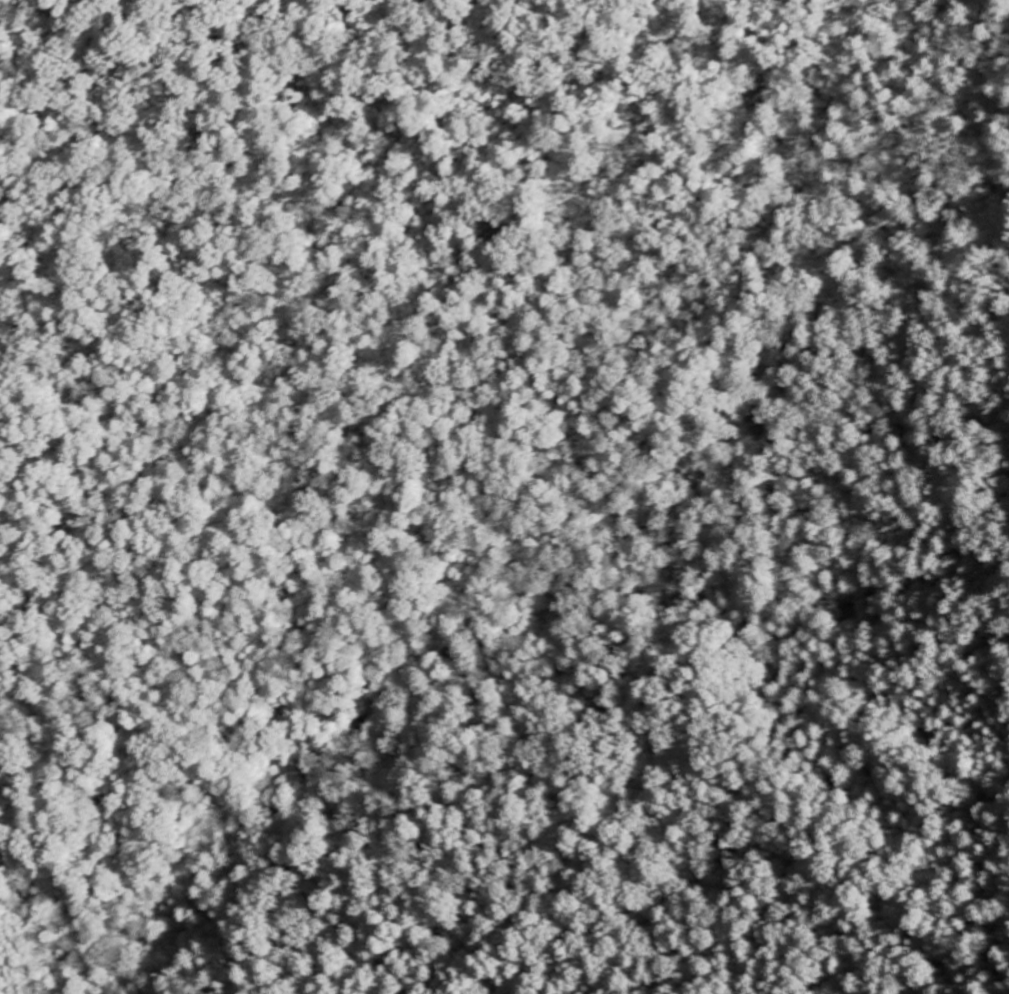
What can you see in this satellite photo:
road: (217, 181)

